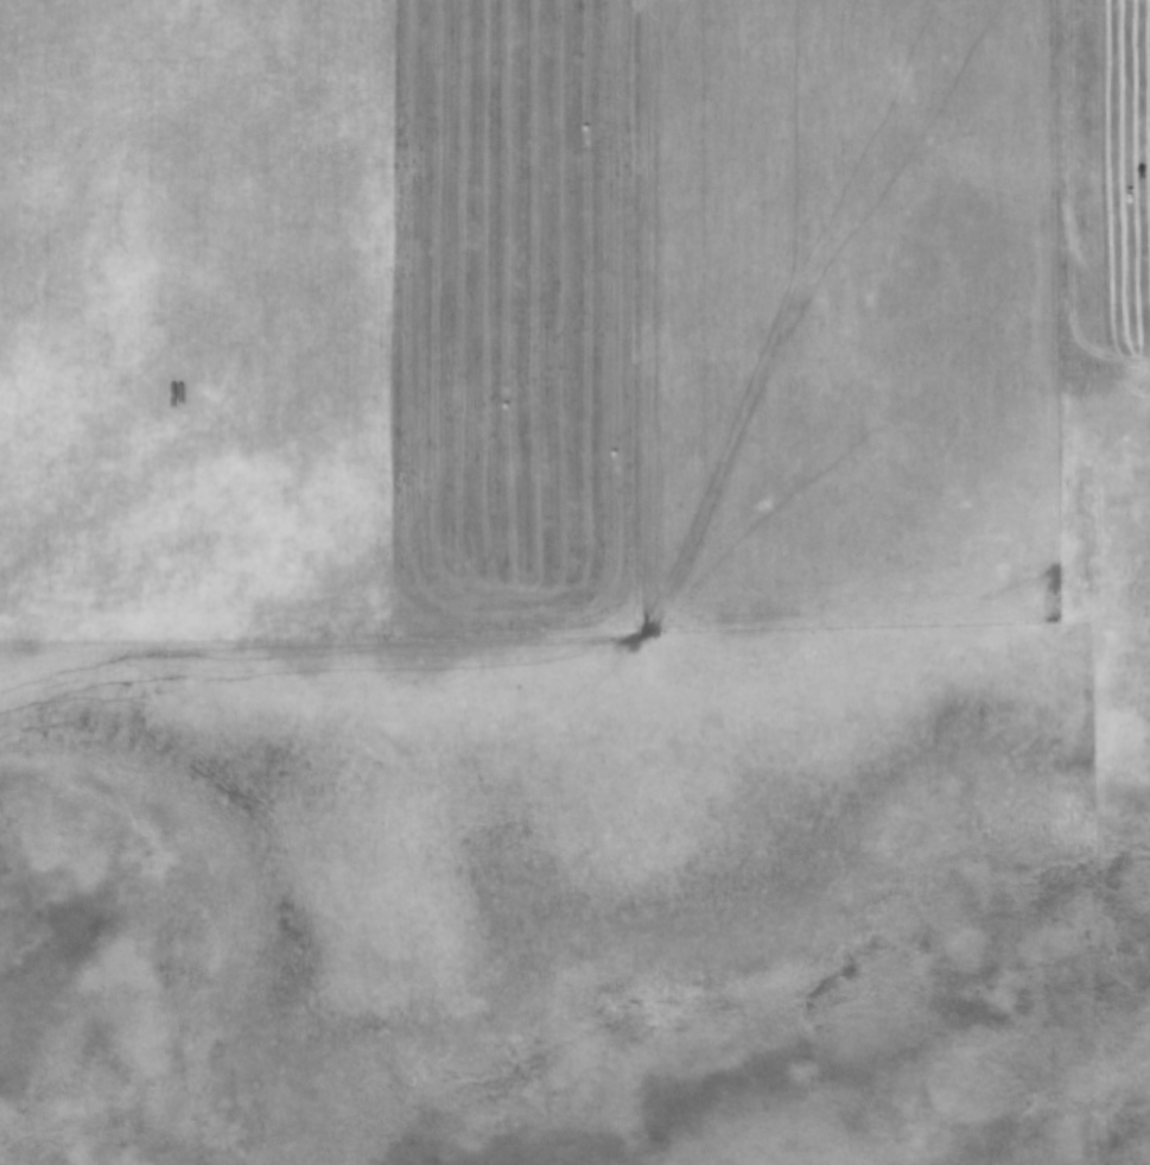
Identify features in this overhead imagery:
road: (1087, 305)

